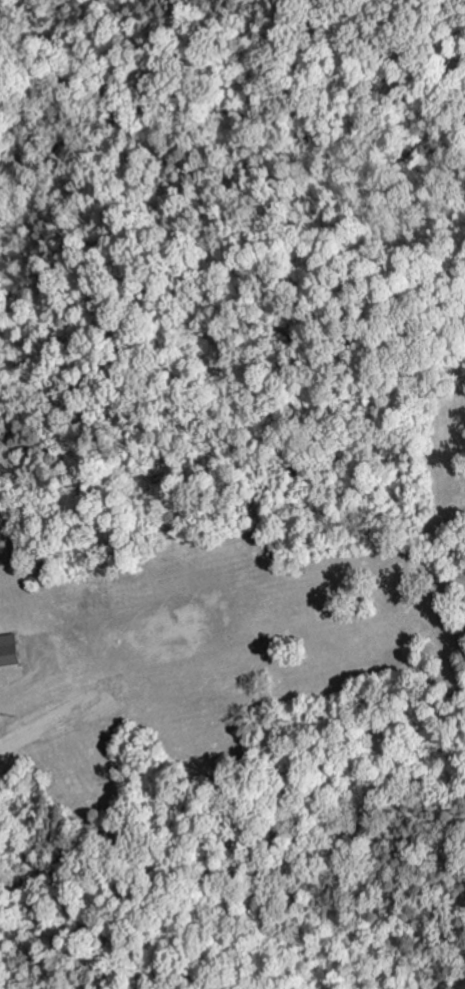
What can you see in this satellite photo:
building: (8, 649)

